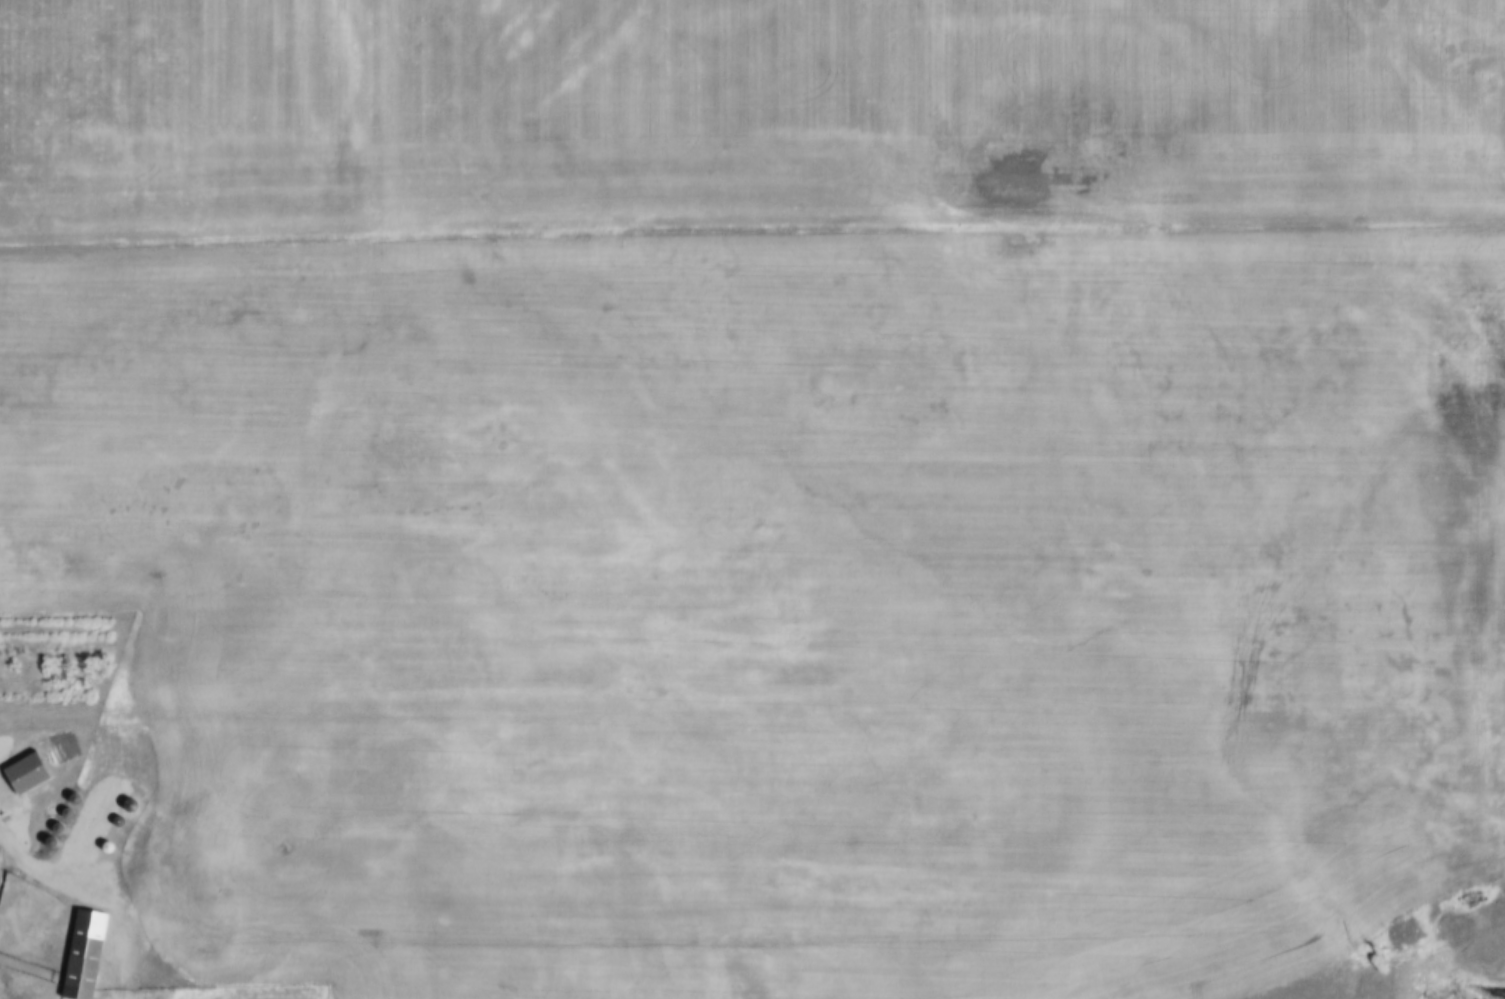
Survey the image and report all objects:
building: (21, 773)
road: (33, 863)
building: (81, 954)

